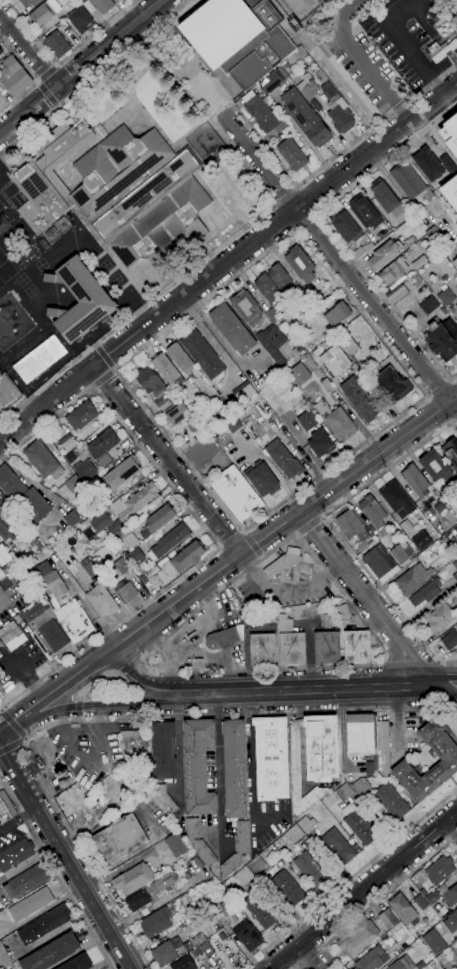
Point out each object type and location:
building: (319, 1)
building: (25, 3)
building: (102, 5)
building: (88, 6)
road: (448, 10)
building: (44, 12)
building: (80, 20)
road: (425, 24)
building: (238, 38)
road: (403, 43)
building: (56, 44)
building: (443, 48)
road: (444, 48)
road: (29, 50)
building: (1, 51)
road: (356, 57)
road: (451, 58)
road: (64, 59)
road: (56, 66)
road: (81, 67)
building: (304, 67)
road: (47, 73)
building: (280, 73)
road: (93, 76)
building: (13, 77)
road: (33, 77)
road: (38, 81)
building: (270, 82)
road: (38, 83)
building: (308, 88)
road: (47, 93)
road: (56, 105)
building: (316, 105)
road: (233, 107)
road: (198, 110)
road: (221, 112)
building: (259, 112)
building: (338, 112)
building: (305, 118)
building: (280, 126)
building: (449, 132)
building: (292, 155)
road: (333, 159)
building: (427, 164)
building: (45, 178)
building: (55, 182)
building: (410, 183)
building: (450, 192)
building: (141, 197)
building: (385, 198)
road: (306, 201)
building: (365, 212)
road: (282, 220)
road: (306, 221)
building: (345, 226)
road: (330, 231)
building: (434, 234)
building: (381, 235)
building: (361, 250)
road: (454, 251)
building: (382, 256)
road: (226, 260)
road: (338, 262)
building: (418, 262)
building: (455, 263)
building: (300, 264)
building: (392, 271)
building: (278, 276)
road: (179, 279)
building: (265, 288)
building: (396, 293)
building: (445, 296)
building: (79, 300)
building: (428, 305)
building: (245, 308)
building: (337, 314)
building: (271, 316)
building: (232, 329)
road: (218, 335)
road: (209, 339)
building: (442, 339)
building: (350, 346)
road: (95, 347)
building: (270, 349)
building: (300, 351)
building: (202, 354)
road: (104, 357)
building: (180, 358)
building: (39, 359)
building: (334, 360)
road: (113, 368)
building: (167, 370)
road: (112, 371)
building: (298, 374)
road: (102, 378)
building: (150, 382)
parking lot: (49, 384)
building: (327, 385)
building: (392, 385)
road: (93, 386)
road: (438, 389)
building: (243, 392)
building: (7, 393)
road: (424, 394)
building: (359, 399)
building: (162, 402)
building: (208, 404)
building: (202, 406)
road: (437, 411)
building: (176, 414)
building: (81, 415)
building: (307, 421)
building: (337, 421)
building: (232, 423)
road: (455, 423)
building: (194, 427)
building: (67, 442)
building: (320, 443)
building: (102, 447)
building: (451, 451)
building: (71, 457)
building: (42, 459)
road: (166, 459)
building: (283, 460)
building: (435, 466)
building: (85, 469)
building: (101, 473)
building: (121, 473)
building: (262, 479)
building: (415, 481)
building: (69, 486)
building: (236, 493)
building: (23, 496)
building: (397, 499)
building: (134, 502)
building: (1, 505)
building: (440, 508)
building: (373, 514)
building: (71, 518)
building: (157, 520)
road: (284, 522)
building: (96, 525)
building: (350, 526)
building: (406, 526)
road: (204, 528)
building: (455, 528)
road: (334, 531)
building: (4, 532)
building: (123, 532)
road: (241, 532)
road: (243, 533)
road: (230, 540)
building: (421, 540)
building: (168, 541)
building: (454, 543)
road: (252, 544)
building: (40, 546)
building: (362, 546)
road: (221, 547)
building: (34, 551)
building: (399, 553)
building: (3, 556)
building: (135, 556)
road: (261, 556)
building: (39, 557)
building: (182, 559)
building: (18, 563)
building: (379, 563)
building: (455, 565)
building: (121, 566)
building: (89, 567)
building: (283, 569)
building: (1, 574)
building: (455, 577)
building: (50, 579)
building: (413, 579)
building: (5, 584)
building: (126, 592)
building: (425, 593)
road: (367, 595)
building: (101, 600)
road: (0, 602)
building: (56, 604)
building: (34, 610)
building: (299, 612)
building: (341, 612)
building: (319, 614)
building: (17, 618)
building: (268, 618)
building: (439, 618)
building: (75, 621)
road: (178, 623)
building: (283, 623)
building: (9, 633)
building: (53, 635)
building: (222, 638)
building: (449, 640)
building: (356, 646)
building: (326, 647)
building: (262, 649)
building: (291, 649)
road: (139, 659)
parking lot: (19, 661)
road: (128, 665)
road: (23, 671)
road: (117, 673)
road: (109, 675)
road: (72, 678)
road: (436, 681)
road: (146, 682)
road: (89, 685)
road: (304, 690)
road: (437, 692)
road: (78, 699)
road: (112, 703)
road: (77, 708)
road: (1, 711)
road: (77, 718)
road: (107, 719)
road: (16, 720)
road: (395, 721)
road: (12, 725)
road: (25, 738)
road: (23, 742)
building: (368, 742)
road: (10, 747)
building: (136, 749)
building: (163, 750)
building: (270, 758)
building: (312, 759)
building: (448, 760)
building: (197, 767)
road: (248, 767)
building: (234, 769)
road: (218, 771)
building: (149, 782)
building: (360, 786)
building: (343, 792)
road: (455, 794)
road: (456, 796)
building: (163, 798)
building: (390, 801)
building: (4, 813)
road: (454, 818)
road: (19, 819)
building: (306, 824)
building: (359, 827)
parking lot: (10, 831)
building: (292, 834)
building: (119, 838)
building: (198, 842)
building: (176, 844)
building: (338, 846)
building: (236, 850)
building: (15, 854)
road: (65, 855)
building: (256, 864)
building: (310, 869)
building: (439, 870)
road: (56, 875)
building: (239, 877)
building: (133, 879)
road: (350, 879)
building: (26, 881)
building: (162, 882)
building: (288, 888)
road: (362, 889)
building: (450, 896)
building: (432, 897)
road: (378, 898)
building: (137, 900)
building: (186, 900)
building: (420, 902)
building: (30, 904)
building: (226, 907)
building: (402, 909)
building: (259, 911)
building: (453, 918)
building: (387, 919)
building: (155, 922)
building: (44, 924)
building: (247, 936)
building: (384, 937)
building: (357, 938)
building: (196, 940)
building: (434, 942)
building: (404, 946)
building: (201, 951)
building: (51, 953)
building: (163, 953)
road: (306, 957)
building: (440, 957)
road: (306, 958)
building: (4, 959)
building: (372, 959)
building: (77, 963)
building: (402, 963)
building: (456, 963)

